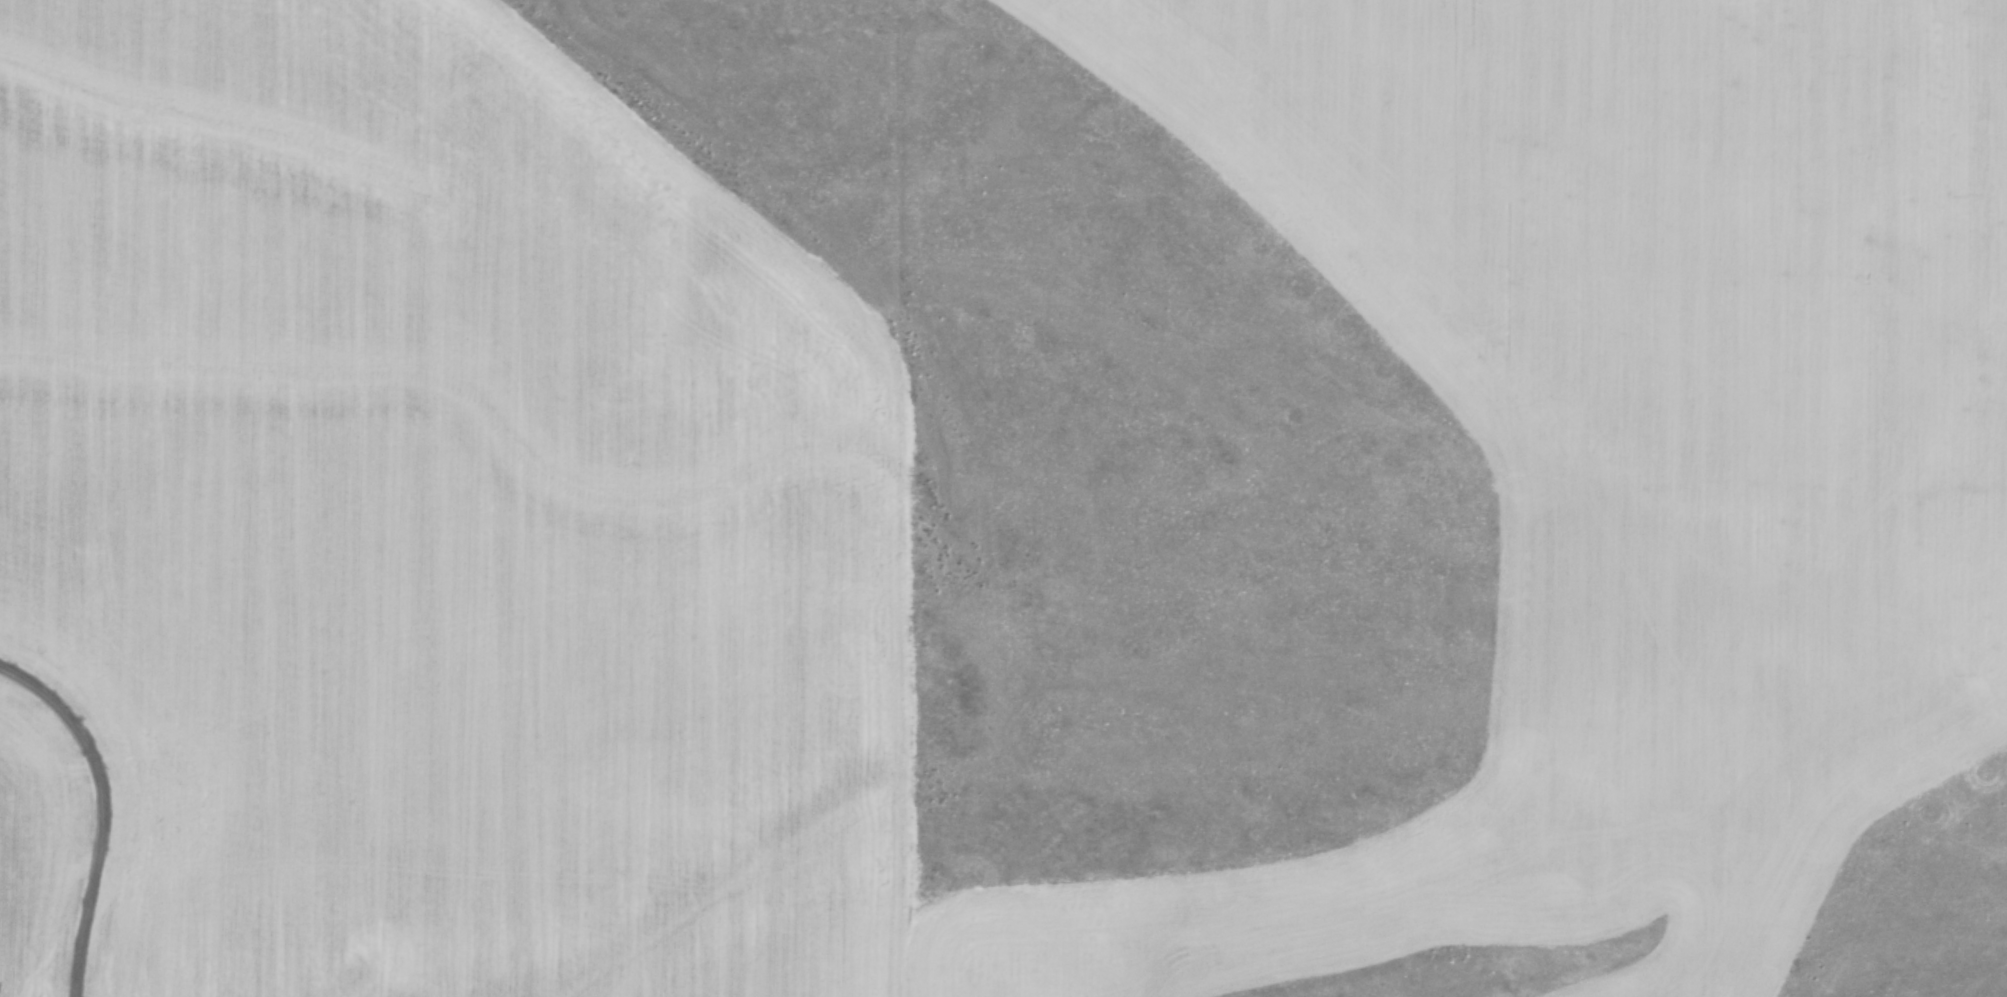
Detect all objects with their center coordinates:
road: (99, 809)

